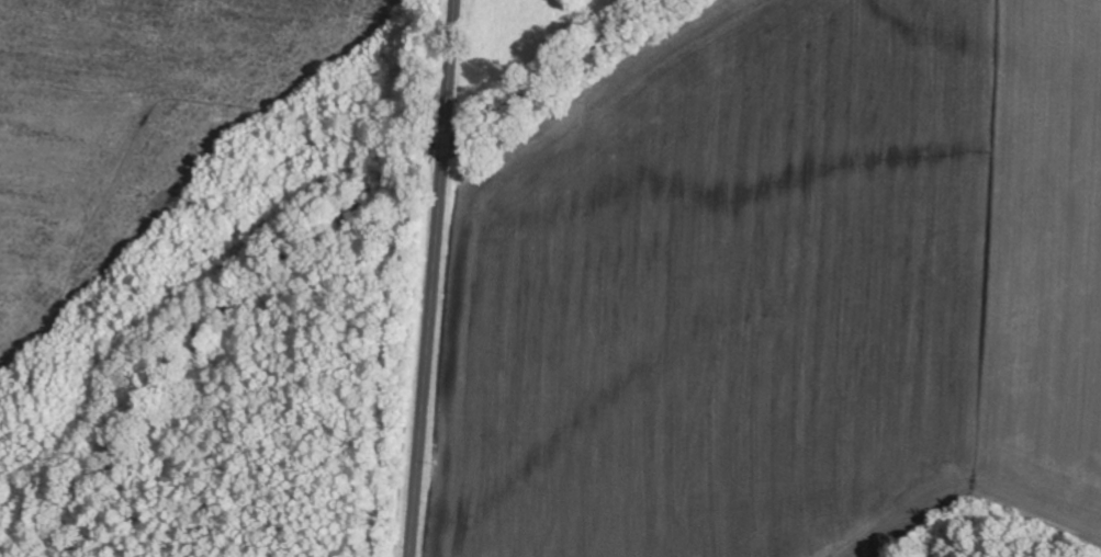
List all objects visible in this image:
road: (436, 278)

